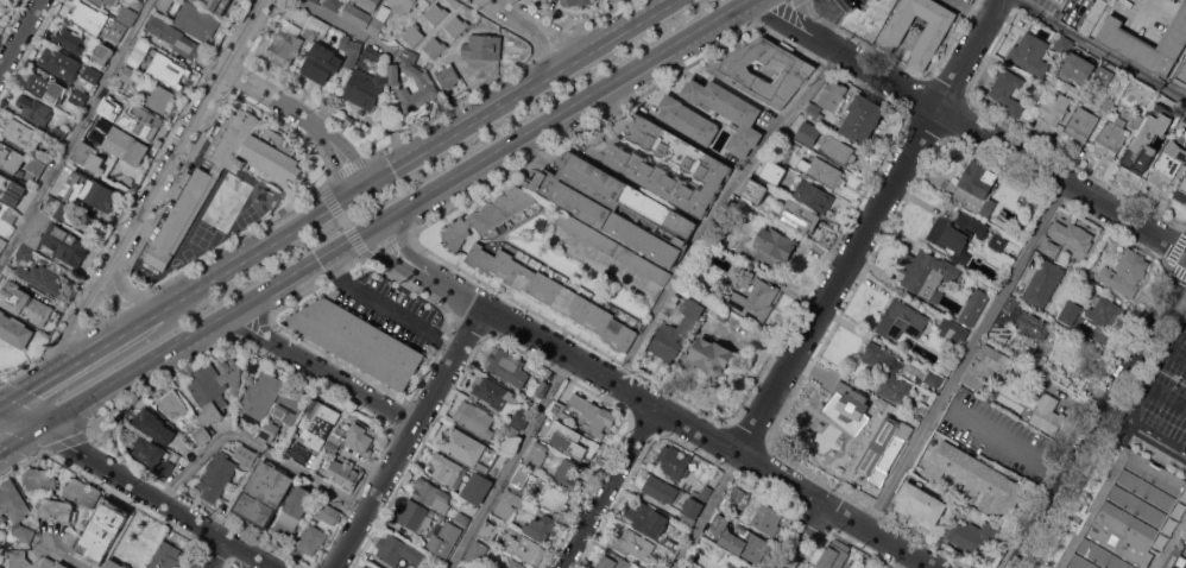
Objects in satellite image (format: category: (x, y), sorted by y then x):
building: (315, 0)
building: (610, 0)
building: (1109, 0)
building: (0, 1)
building: (107, 1)
building: (614, 1)
building: (1112, 1)
building: (579, 2)
building: (135, 4)
building: (163, 4)
building: (334, 4)
building: (368, 4)
building: (220, 5)
building: (403, 5)
road: (1070, 5)
building: (436, 13)
building: (126, 14)
building: (358, 14)
building: (1093, 15)
building: (88, 17)
building: (869, 18)
building: (197, 20)
building: (379, 20)
building: (456, 25)
road: (544, 25)
road: (630, 25)
road: (349, 27)
building: (324, 29)
building: (313, 30)
building: (116, 31)
building: (894, 32)
road: (20, 34)
building: (412, 34)
building: (68, 38)
building: (176, 39)
building: (138, 42)
building: (1146, 42)
building: (286, 44)
road: (547, 44)
building: (1062, 44)
building: (482, 46)
building: (435, 48)
road: (1098, 49)
building: (351, 50)
building: (103, 52)
building: (1030, 52)
building: (410, 55)
building: (368, 57)
building: (130, 58)
building: (59, 62)
building: (322, 63)
building: (1077, 68)
building: (168, 69)
building: (393, 72)
building: (92, 74)
building: (1103, 74)
building: (481, 75)
building: (447, 76)
building: (1181, 76)
building: (126, 77)
building: (743, 77)
building: (45, 86)
building: (365, 88)
building: (428, 89)
building: (1008, 90)
building: (832, 94)
building: (78, 96)
building: (158, 97)
road: (276, 99)
building: (1108, 103)
building: (107, 107)
building: (1055, 107)
building: (34, 109)
building: (728, 112)
building: (814, 112)
building: (688, 119)
building: (860, 119)
building: (1136, 119)
building: (141, 121)
building: (1081, 124)
road: (197, 125)
road: (970, 126)
road: (75, 131)
building: (1166, 131)
building: (58, 132)
building: (808, 132)
building: (1114, 133)
building: (26, 138)
building: (122, 143)
building: (790, 144)
building: (254, 146)
road: (351, 149)
building: (838, 150)
building: (1138, 152)
building: (10, 154)
building: (89, 156)
building: (1168, 163)
road: (339, 164)
building: (702, 165)
building: (216, 169)
building: (825, 171)
building: (32, 173)
building: (769, 175)
building: (753, 183)
road: (358, 188)
building: (978, 188)
building: (10, 189)
building: (56, 191)
building: (1181, 191)
building: (100, 194)
building: (815, 196)
building: (1029, 198)
building: (616, 206)
building: (58, 209)
road: (715, 210)
road: (397, 213)
building: (488, 215)
building: (10, 216)
building: (800, 216)
building: (181, 217)
road: (864, 226)
building: (958, 234)
building: (1073, 234)
building: (57, 239)
building: (998, 241)
building: (2, 242)
building: (776, 242)
road: (403, 245)
building: (614, 248)
building: (1052, 248)
building: (24, 252)
road: (387, 254)
building: (742, 269)
building: (147, 270)
building: (1125, 272)
building: (622, 273)
building: (927, 273)
road: (1175, 276)
building: (40, 277)
building: (1043, 283)
building: (555, 295)
road: (134, 296)
building: (756, 299)
road: (1175, 299)
building: (25, 303)
building: (1007, 308)
road: (389, 309)
building: (970, 309)
building: (1104, 310)
building: (1070, 311)
building: (723, 316)
building: (901, 320)
road: (78, 321)
building: (1033, 324)
building: (14, 329)
building: (953, 330)
building: (675, 333)
building: (999, 334)
building: (358, 340)
building: (1064, 353)
building: (708, 355)
road: (966, 355)
road: (1156, 365)
building: (507, 366)
building: (988, 366)
road: (65, 371)
road: (321, 373)
building: (889, 373)
building: (934, 378)
building: (214, 387)
building: (543, 389)
building: (493, 391)
building: (261, 395)
building: (171, 403)
building: (291, 403)
building: (847, 408)
building: (559, 409)
building: (593, 415)
building: (1047, 415)
building: (474, 418)
building: (521, 418)
road: (675, 421)
building: (317, 422)
building: (154, 425)
traffic signals: (40, 427)
road: (1144, 427)
building: (248, 428)
building: (270, 430)
building: (551, 430)
road: (1085, 430)
building: (201, 434)
building: (336, 437)
building: (362, 437)
road: (20, 438)
road: (409, 438)
road: (1008, 444)
road: (258, 446)
building: (332, 446)
building: (469, 449)
building: (299, 452)
building: (251, 455)
building: (536, 455)
building: (153, 457)
building: (676, 461)
road: (510, 465)
building: (446, 468)
building: (343, 473)
building: (567, 473)
building: (216, 475)
building: (40, 478)
building: (521, 478)
building: (976, 479)
building: (709, 484)
road: (140, 487)
building: (478, 487)
building: (660, 488)
road: (611, 490)
building: (83, 492)
building: (263, 493)
building: (431, 494)
building: (553, 498)
building: (507, 504)
building: (920, 504)
building: (693, 506)
building: (15, 509)
building: (57, 509)
building: (294, 510)
road: (707, 511)
building: (114, 512)
building: (327, 512)
building: (763, 515)
building: (414, 516)
building: (1128, 516)
building: (648, 518)
building: (462, 519)
building: (542, 526)
building: (105, 528)
building: (490, 531)
building: (972, 534)
building: (70, 537)
building: (444, 538)
building: (738, 538)
road: (808, 538)
building: (313, 539)
building: (632, 543)
building: (670, 543)
building: (94, 545)
building: (398, 549)
building: (525, 549)
building: (477, 553)
road: (220, 554)
building: (835, 555)
road: (63, 556)
building: (165, 556)
building: (18, 558)
road: (901, 560)
building: (1171, 560)
building: (613, 561)
building: (518, 562)
building: (0, 563)
building: (46, 563)
building: (737, 563)
building: (115, 564)
building: (652, 564)
building: (61, 566)
building: (367, 566)
building: (871, 566)
building: (1185, 566)
building: (1, 567)

